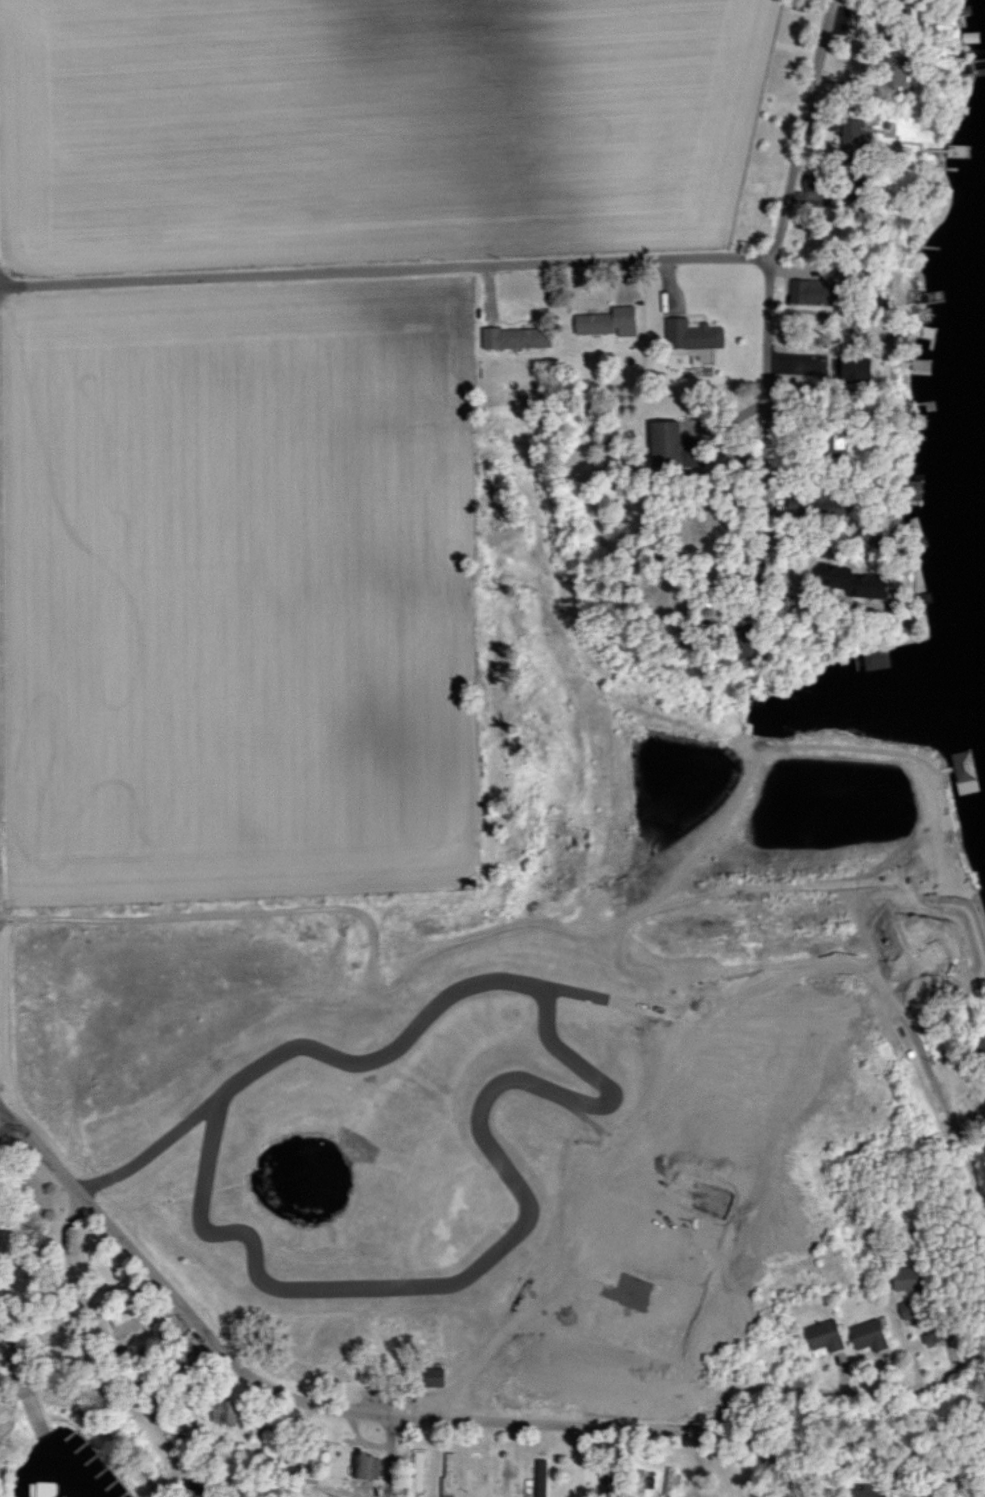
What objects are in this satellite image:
building: (891, 72)
building: (849, 135)
road: (383, 268)
building: (807, 292)
road: (767, 299)
building: (602, 321)
building: (624, 332)
building: (690, 335)
building: (810, 337)
building: (513, 338)
building: (852, 368)
building: (826, 442)
building: (908, 489)
building: (870, 584)
road: (810, 590)
building: (874, 659)
building: (962, 771)
road: (453, 908)
road: (936, 1055)
building: (903, 1278)
building: (119, 1318)
building: (823, 1335)
building: (865, 1335)
road: (118, 1346)
building: (428, 1377)
road: (858, 1392)
road: (307, 1399)
building: (219, 1412)
road: (390, 1453)
road: (766, 1458)
road: (701, 1460)
building: (365, 1467)
building: (414, 1474)
building: (504, 1475)
building: (446, 1476)
building: (538, 1478)
building: (643, 1479)
building: (669, 1480)
building: (44, 1489)
building: (326, 1490)
road: (974, 1492)
building: (861, 1493)

